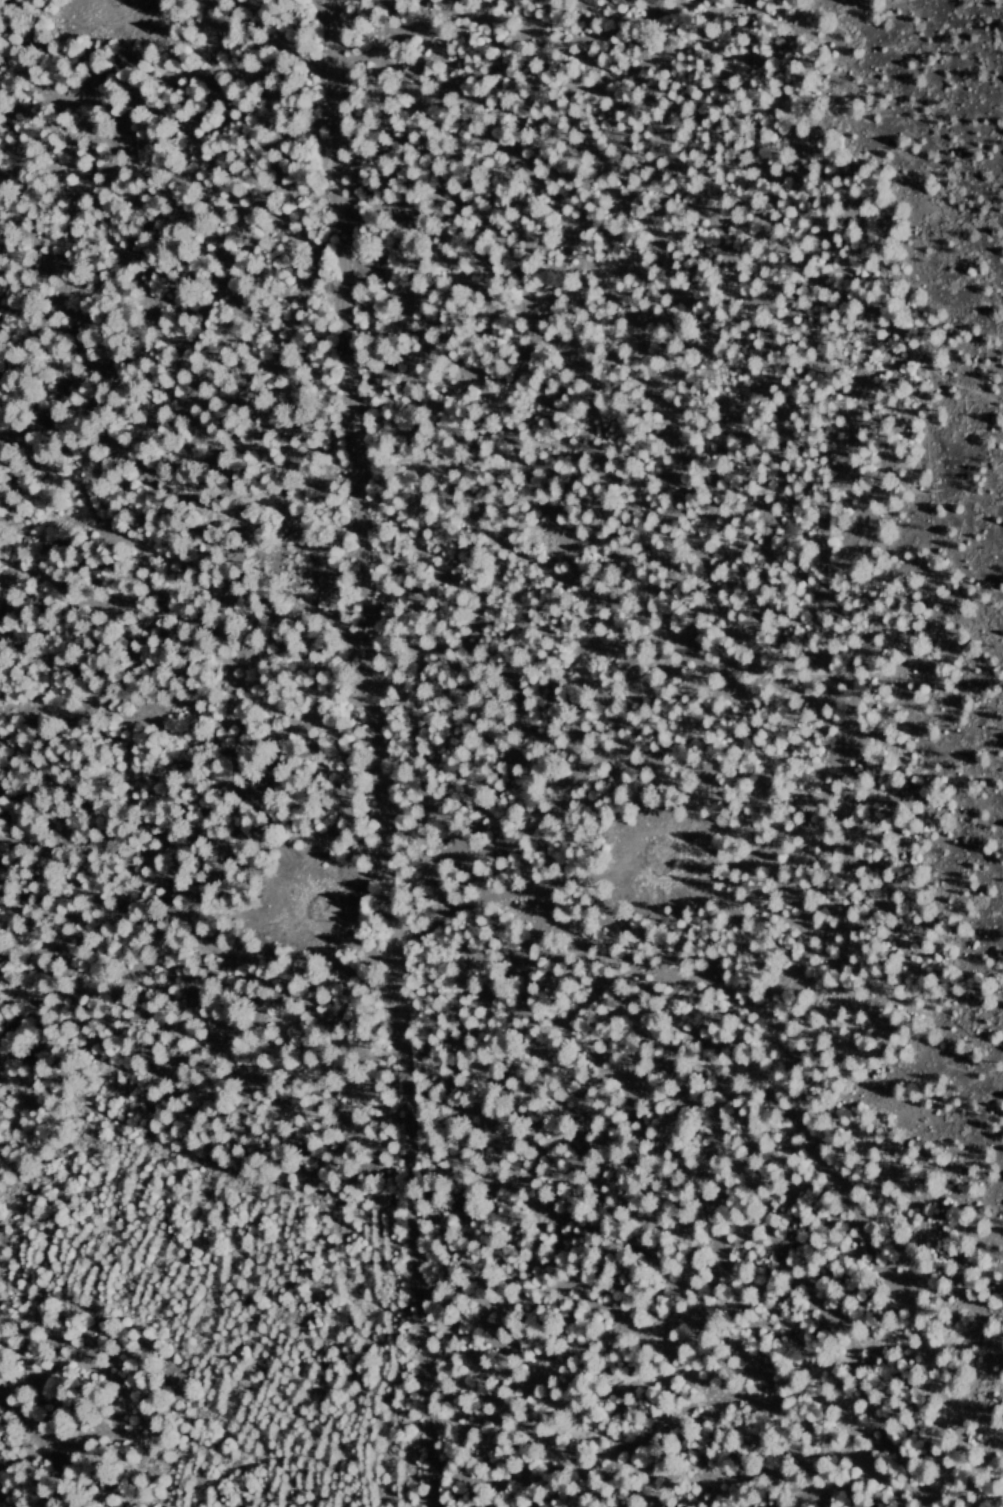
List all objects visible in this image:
road: (378, 753)

